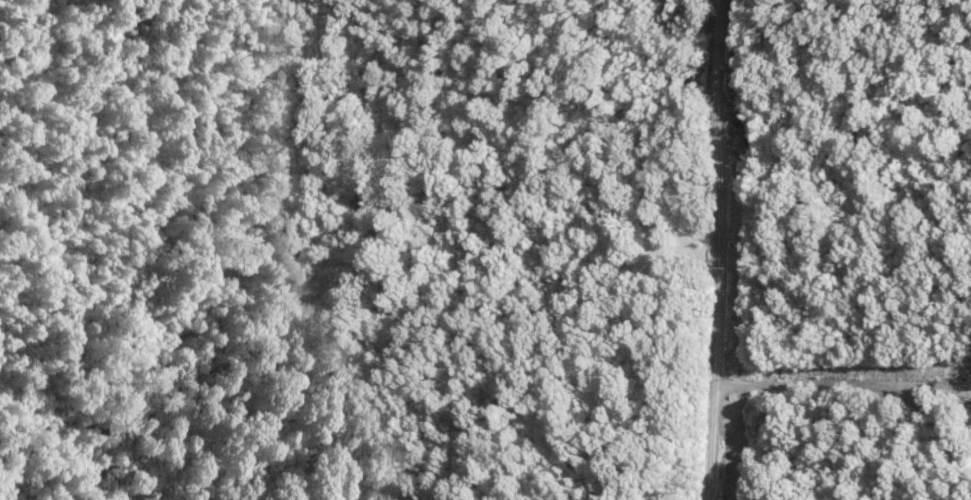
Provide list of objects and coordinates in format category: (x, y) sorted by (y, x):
road: (721, 249)
road: (853, 396)

